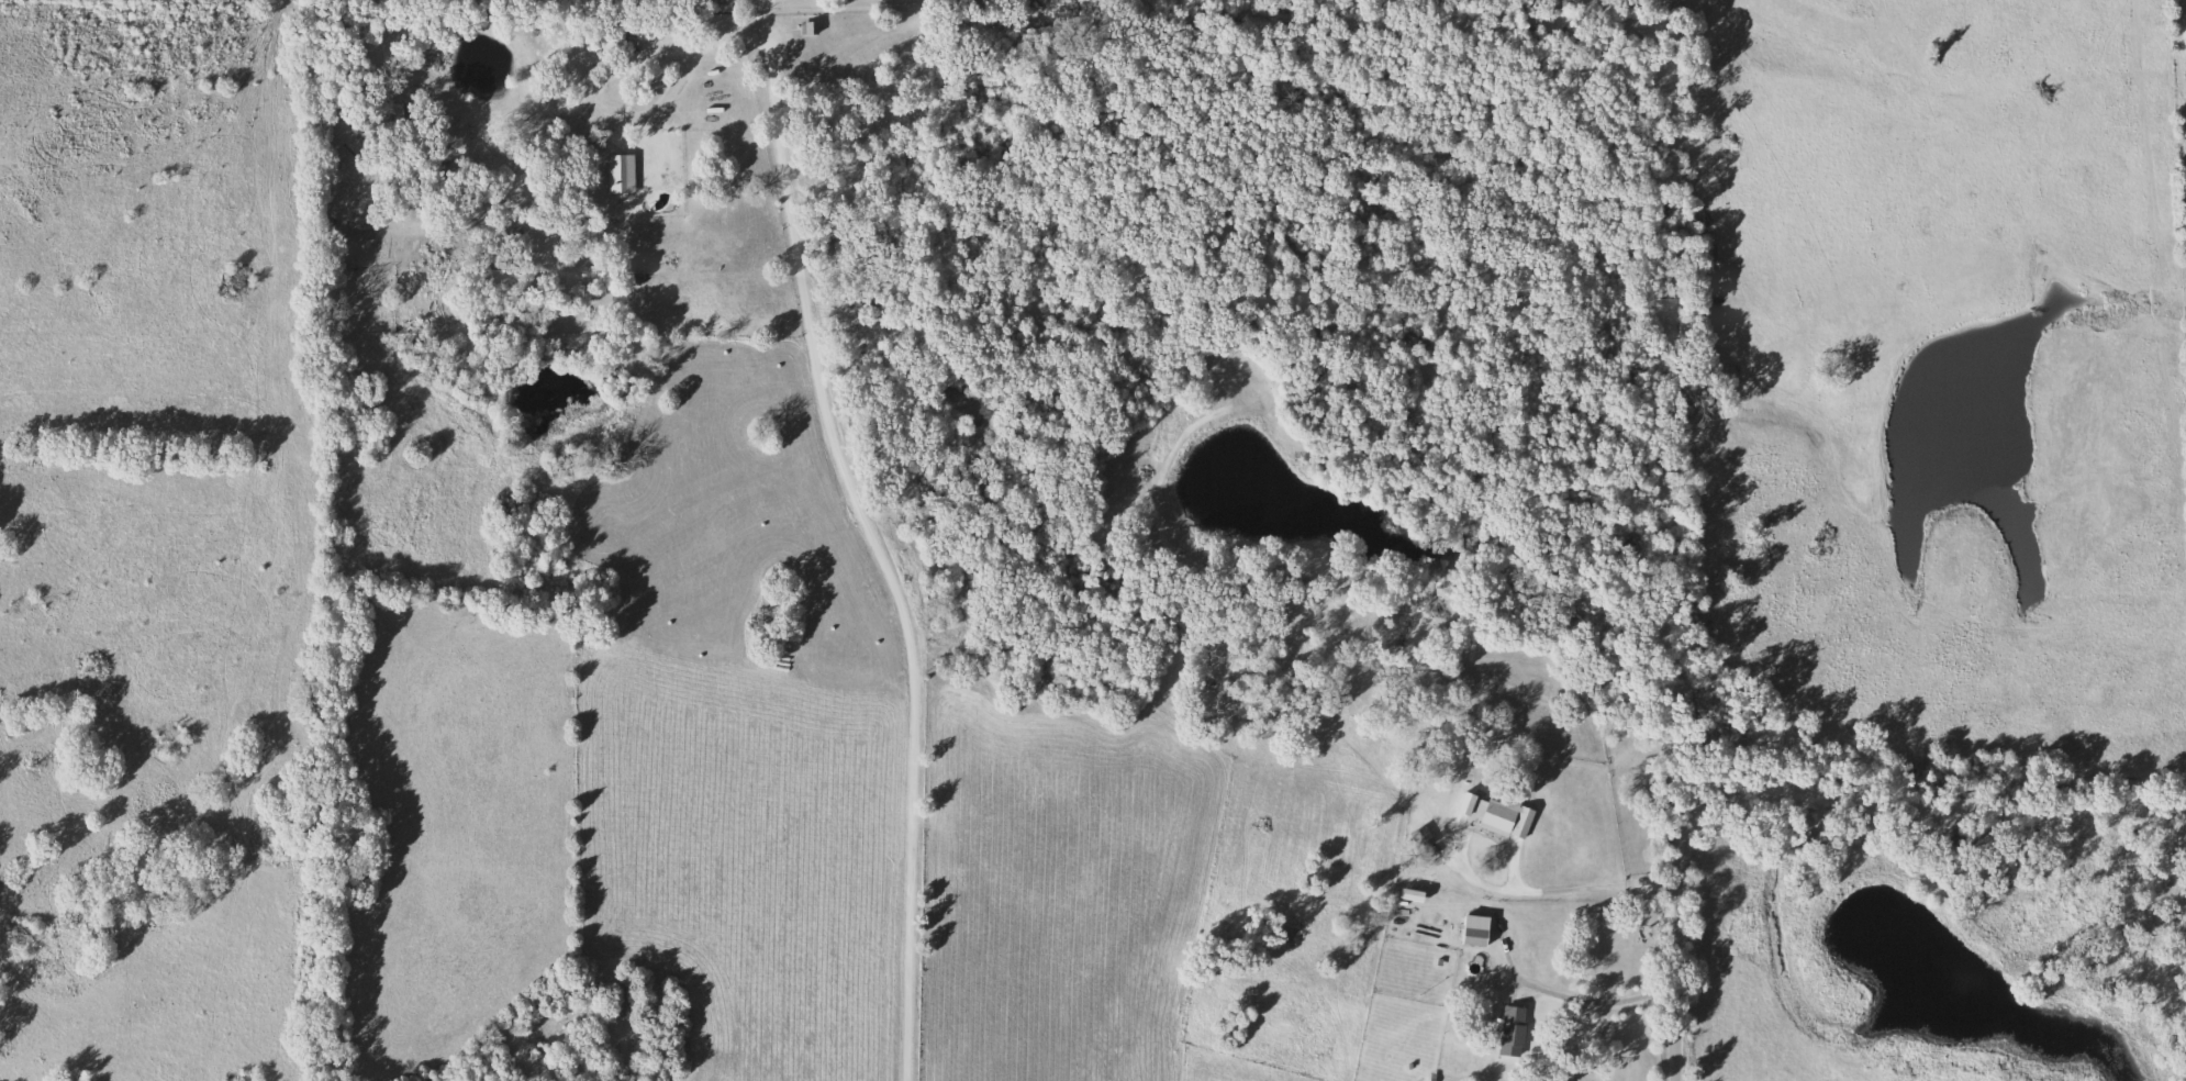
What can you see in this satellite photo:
park: (849, 5)
building: (812, 26)
building: (618, 40)
road: (598, 85)
building: (598, 143)
building: (625, 174)
building: (354, 230)
road: (872, 536)
road: (1802, 792)
building: (1504, 816)
road: (1499, 930)
building: (1480, 937)
building: (1517, 1030)

